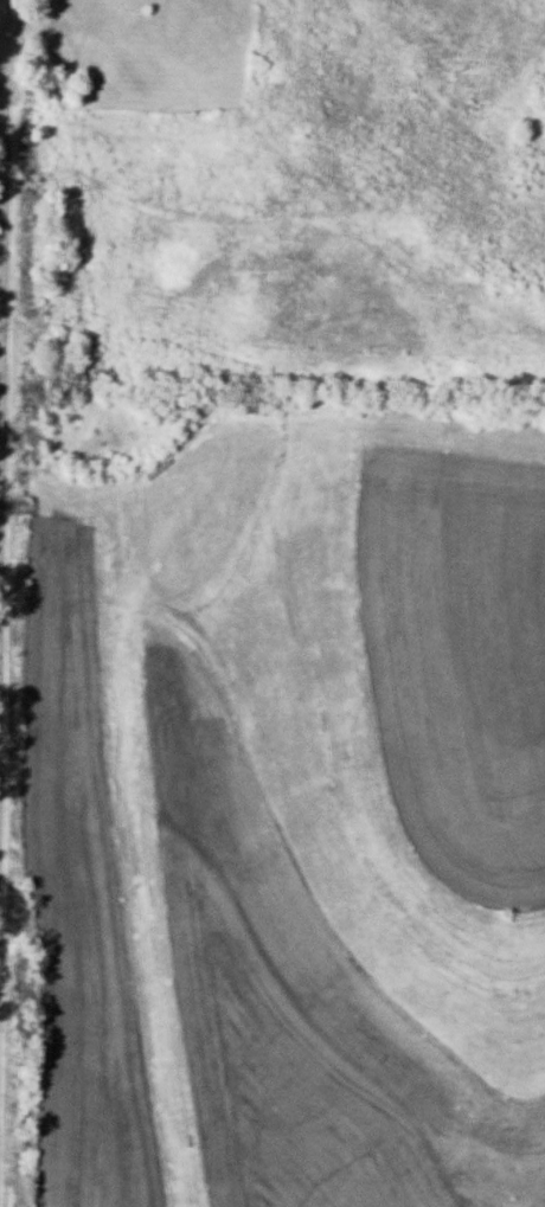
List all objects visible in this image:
road: (5, 364)

